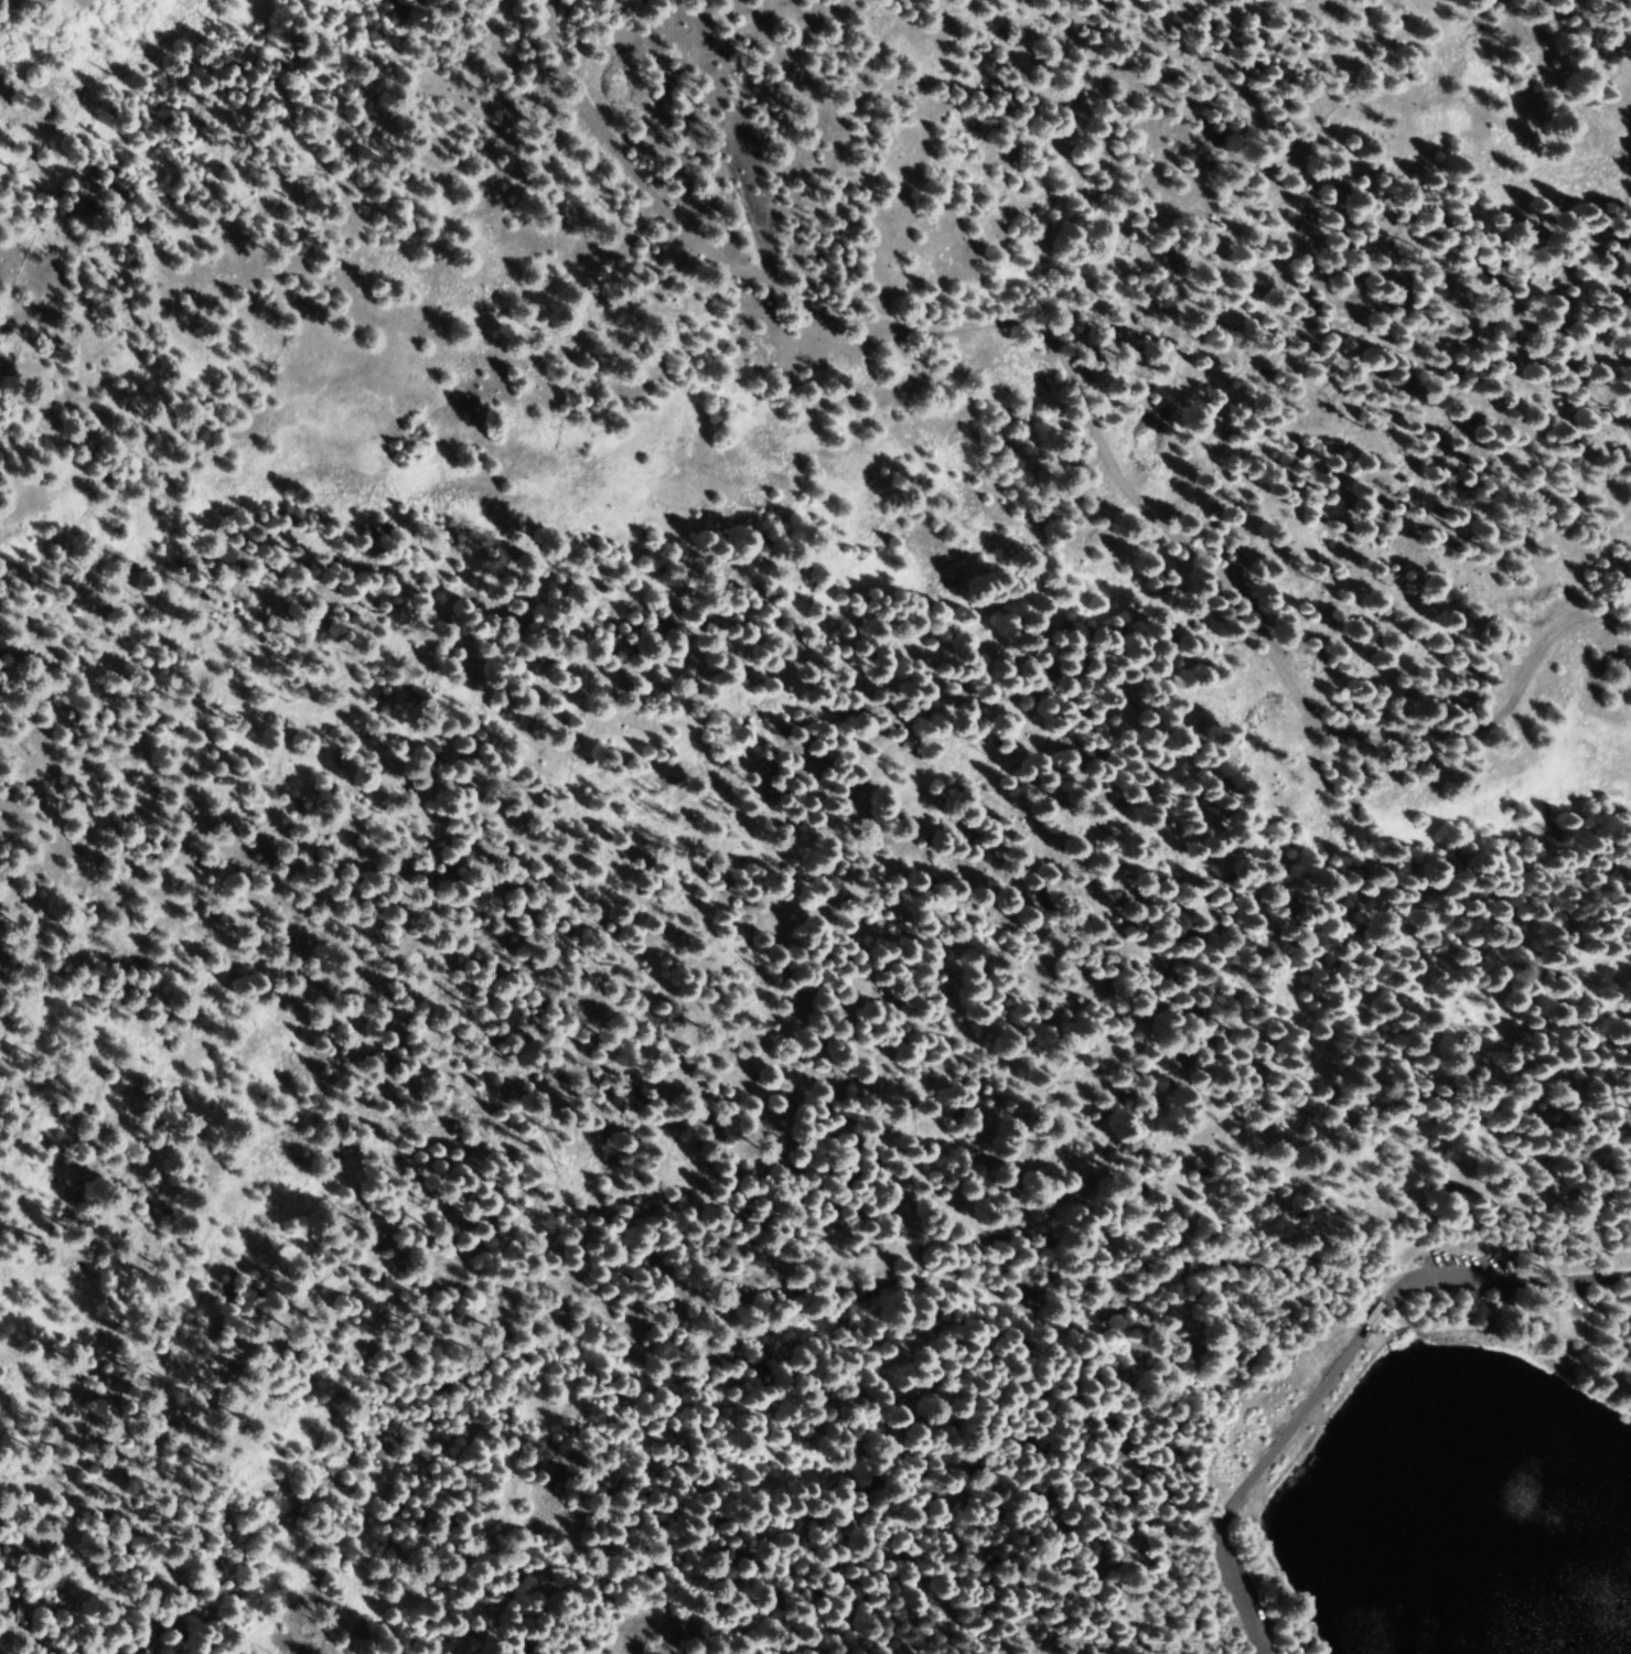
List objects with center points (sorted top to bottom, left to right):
road: (1084, 396)
parking lot: (1468, 1260)
road: (1503, 1279)
road: (1373, 1309)
road: (1397, 1329)
road: (1522, 1345)
dam: (1318, 1435)
road: (1243, 1474)
road: (1270, 1483)

